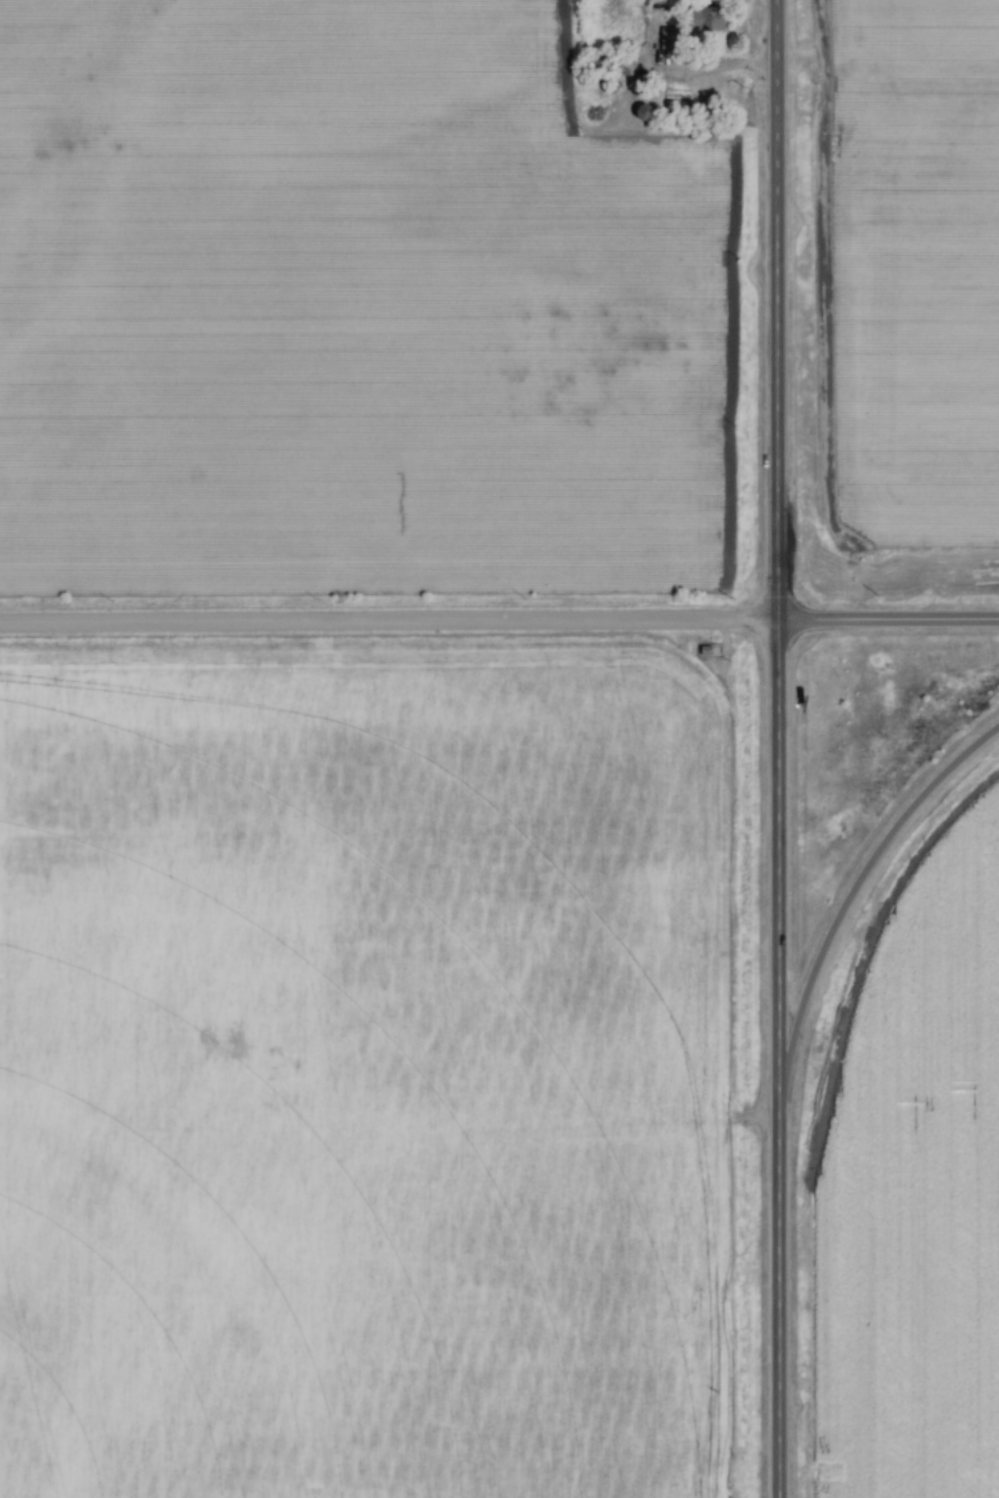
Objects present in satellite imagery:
building: (716, 20)
building: (625, 70)
building: (646, 113)
crop: (919, 266)
crop: (346, 309)
road: (388, 622)
road: (888, 622)
road: (777, 749)
road: (855, 888)
crop: (367, 1076)
crop: (916, 1199)

